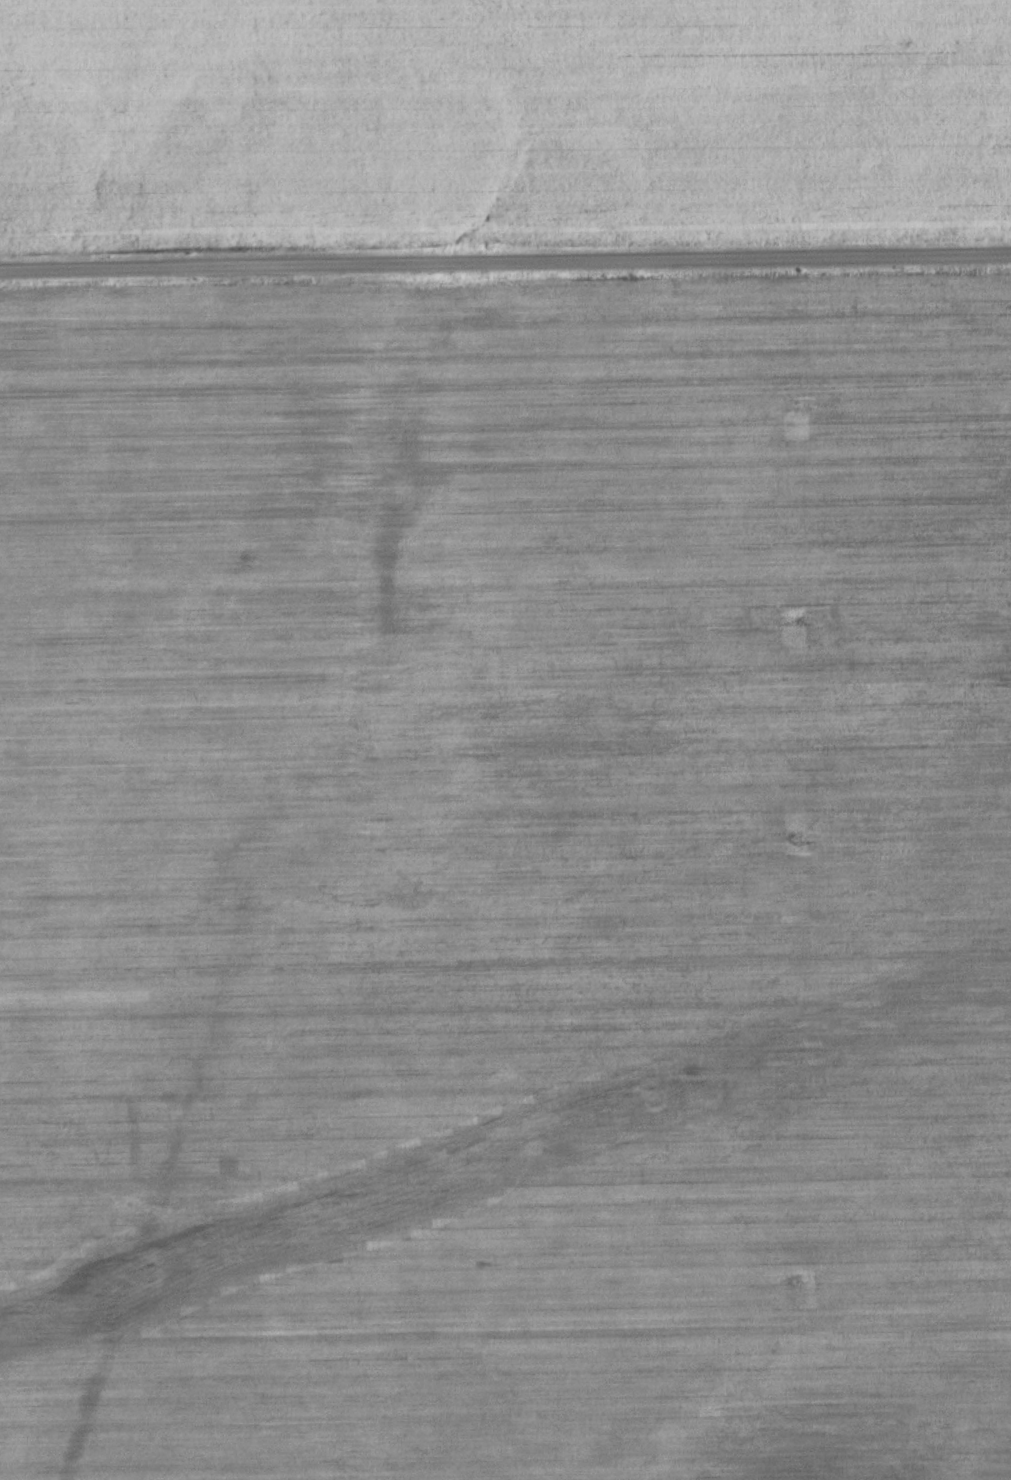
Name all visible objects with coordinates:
road: (505, 265)

